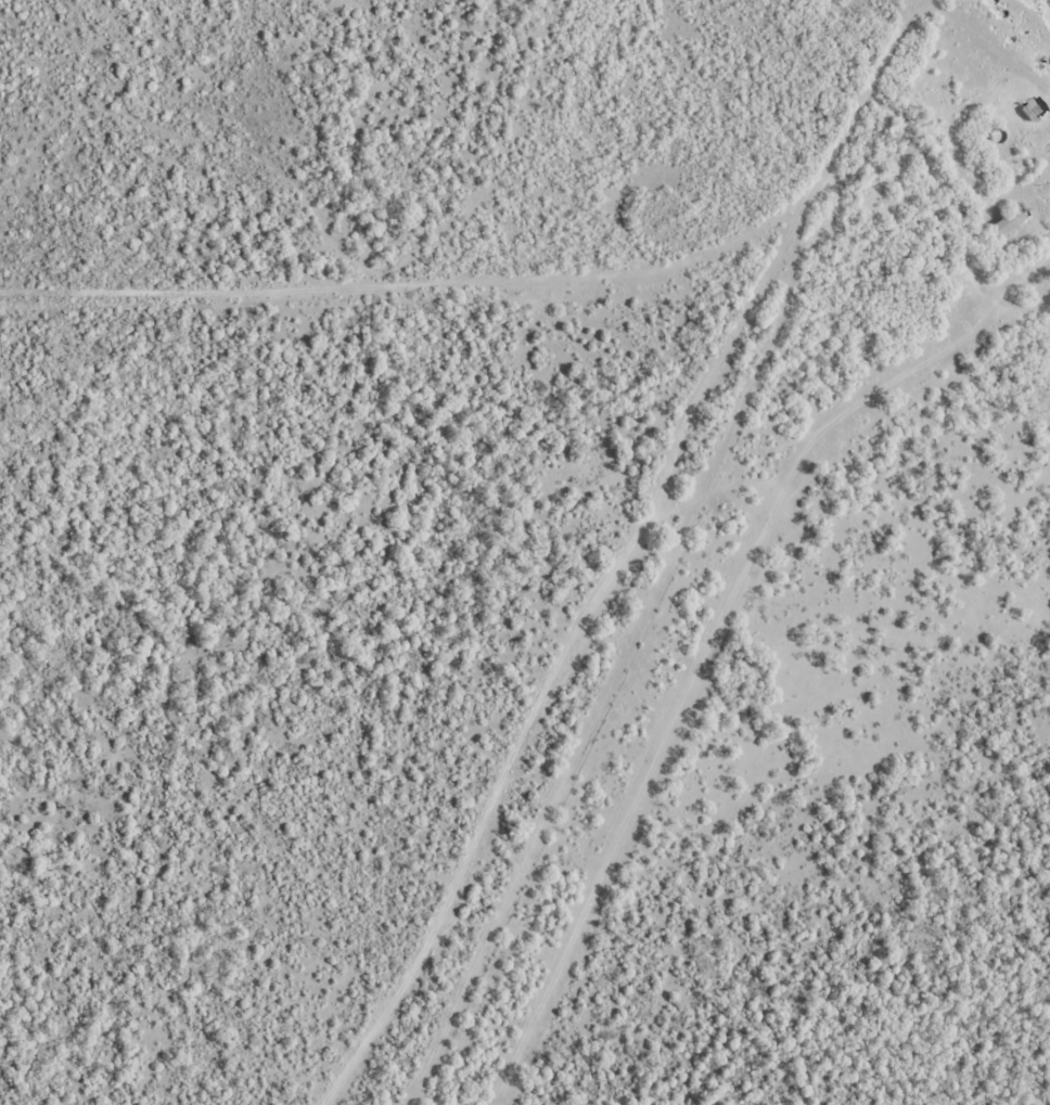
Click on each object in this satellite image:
road: (995, 68)
building: (1030, 111)
building: (1006, 221)
road: (1040, 244)
road: (477, 246)

